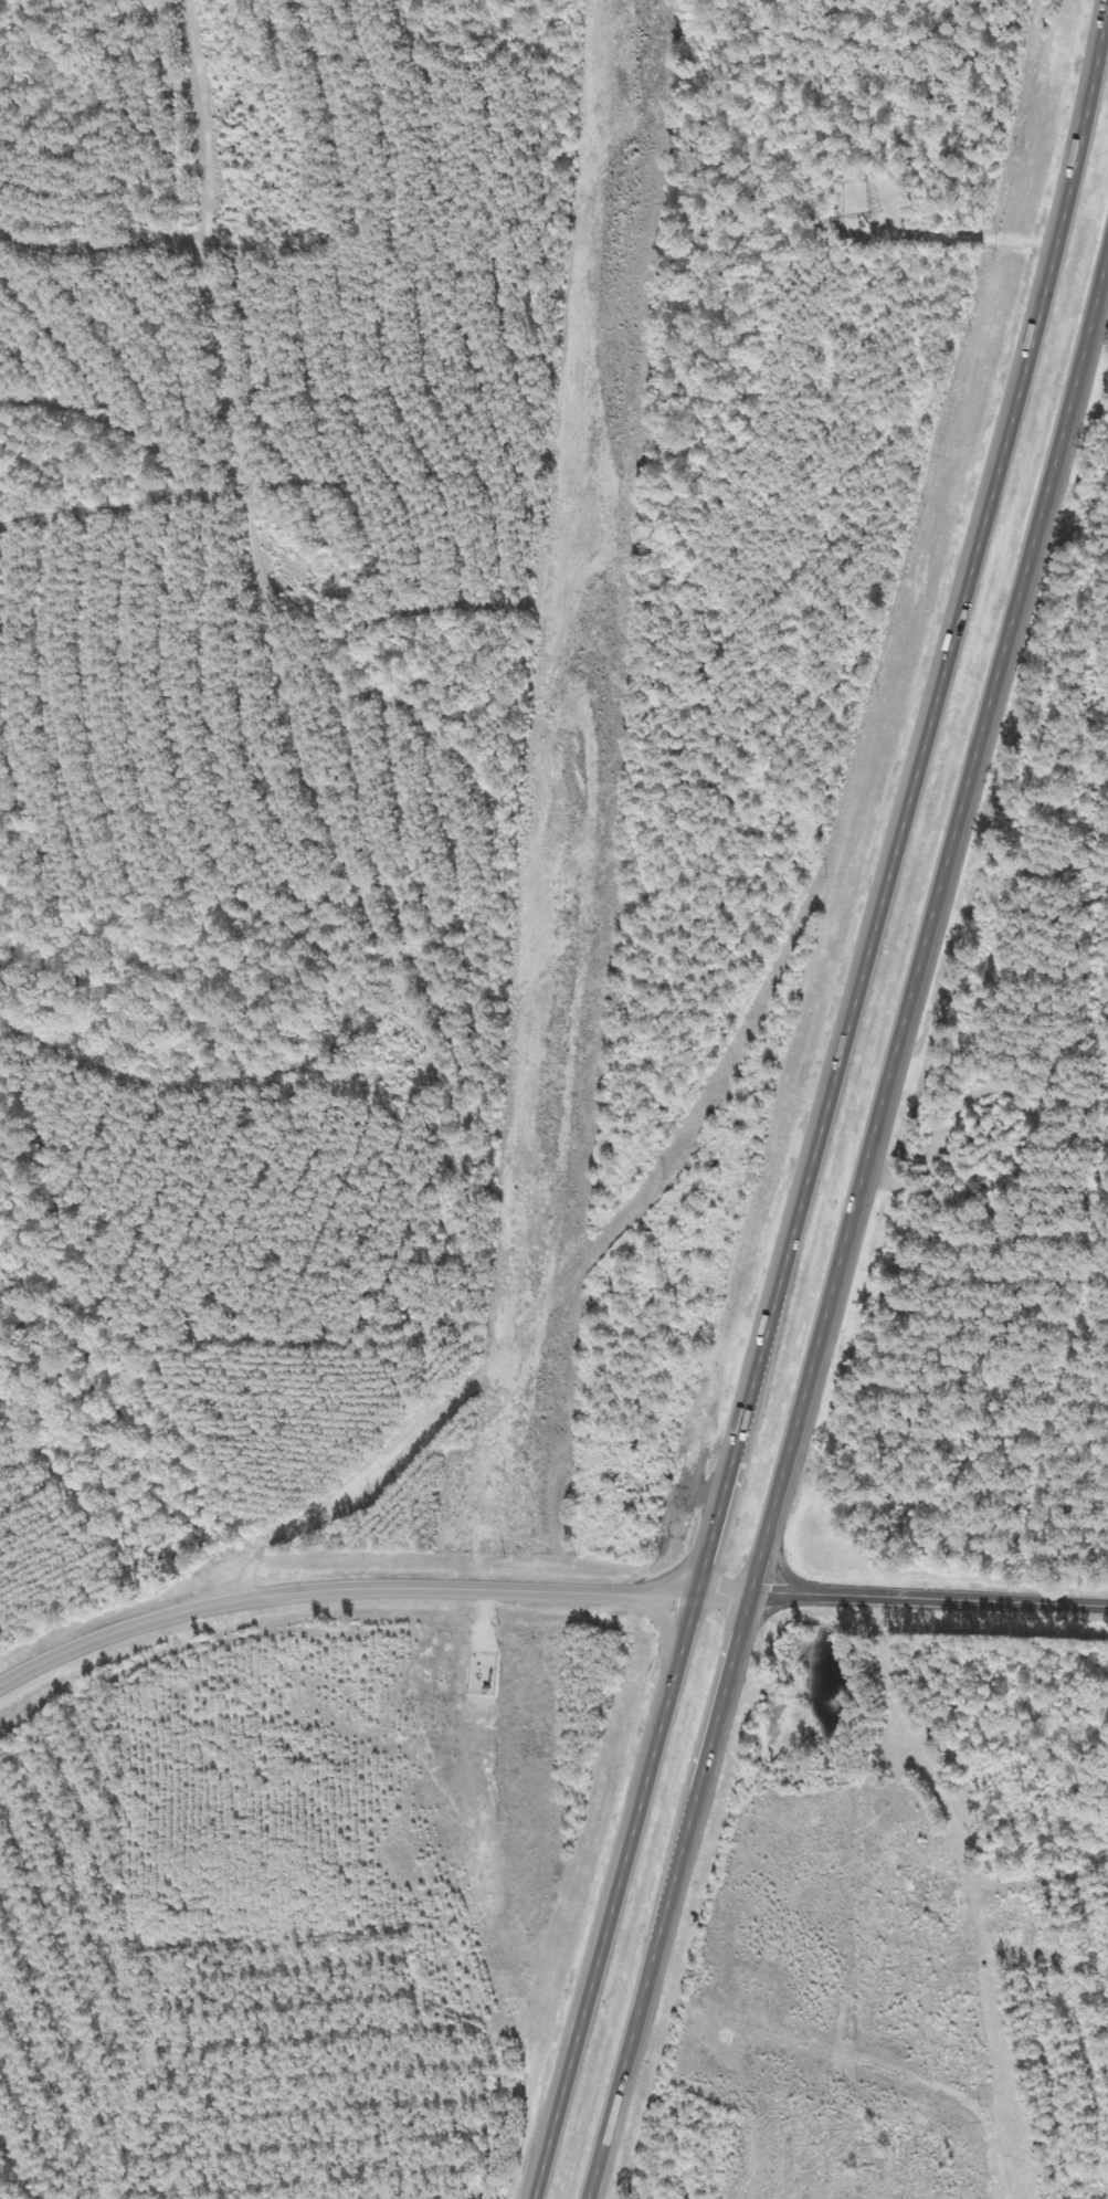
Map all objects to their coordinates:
road: (907, 817)
road: (855, 1243)
road: (338, 1590)
road: (724, 1596)
road: (930, 1601)
road: (619, 1897)

